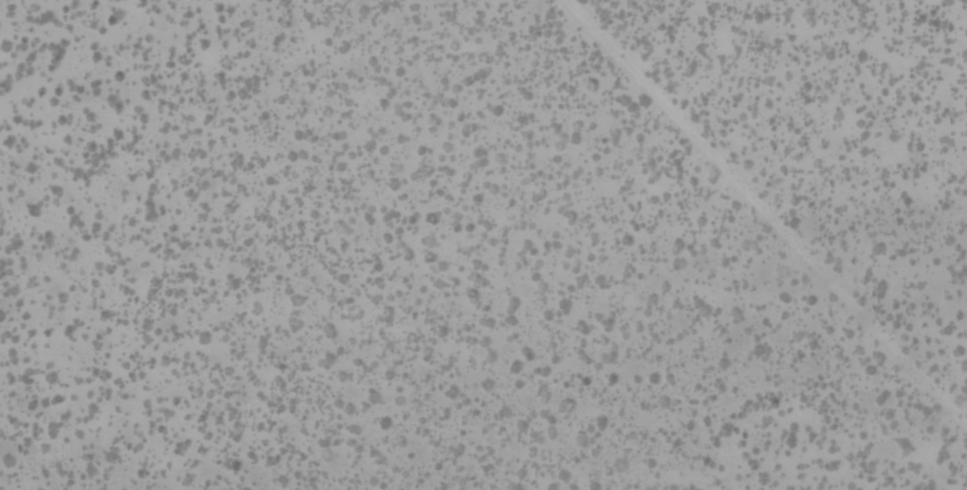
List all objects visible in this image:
road: (766, 214)

